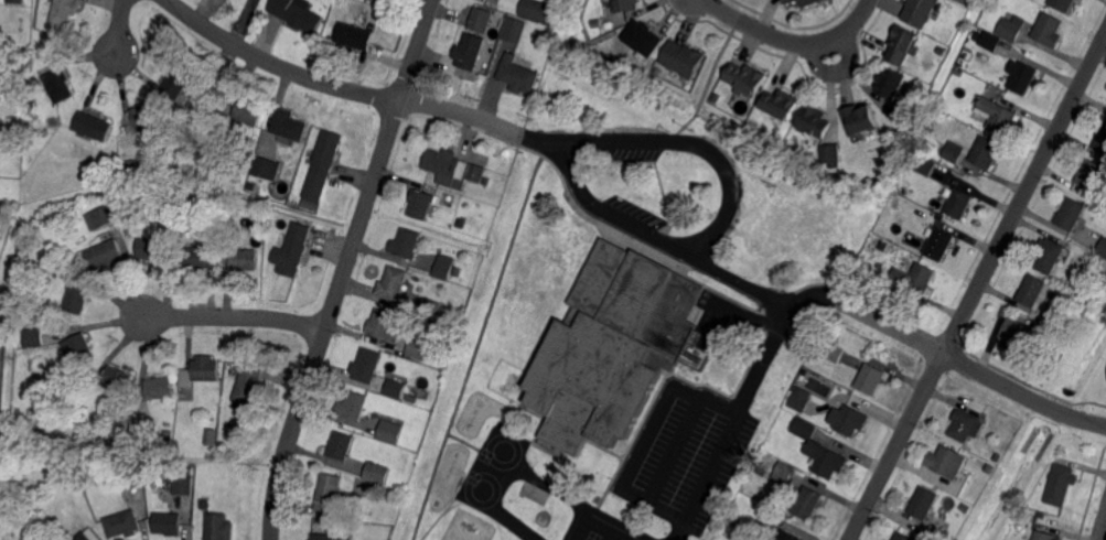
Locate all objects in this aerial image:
building: (384, 1)
building: (786, 1)
building: (14, 2)
building: (805, 2)
building: (964, 2)
building: (1062, 4)
building: (623, 6)
road: (715, 7)
building: (63, 11)
building: (536, 11)
building: (917, 12)
building: (299, 14)
building: (480, 19)
building: (593, 23)
road: (121, 26)
building: (1011, 28)
building: (1048, 31)
building: (514, 32)
building: (550, 32)
building: (354, 36)
building: (976, 36)
building: (643, 37)
building: (989, 42)
building: (899, 44)
road: (799, 45)
building: (939, 51)
building: (469, 52)
building: (679, 58)
road: (839, 71)
building: (516, 76)
building: (742, 78)
building: (1022, 78)
building: (888, 83)
building: (176, 84)
road: (339, 84)
building: (58, 86)
building: (716, 98)
building: (776, 104)
building: (250, 111)
building: (902, 115)
building: (998, 115)
building: (147, 116)
building: (856, 119)
building: (812, 121)
building: (290, 125)
building: (94, 126)
building: (224, 131)
road: (588, 136)
building: (1102, 141)
building: (954, 152)
building: (985, 152)
parking lot: (635, 153)
building: (828, 154)
building: (130, 163)
building: (322, 164)
building: (923, 164)
building: (884, 166)
building: (267, 168)
building: (451, 168)
building: (94, 175)
building: (1089, 176)
building: (484, 179)
road: (1024, 192)
building: (958, 203)
building: (420, 204)
parking lot: (634, 210)
building: (1071, 213)
building: (105, 217)
building: (464, 223)
building: (224, 226)
building: (407, 244)
building: (937, 245)
building: (76, 247)
building: (152, 248)
building: (1103, 248)
building: (294, 250)
building: (105, 253)
building: (1049, 255)
road: (659, 256)
building: (200, 258)
building: (245, 259)
building: (445, 266)
road: (344, 269)
building: (64, 270)
building: (914, 278)
building: (394, 283)
building: (1035, 291)
building: (890, 294)
building: (77, 298)
building: (431, 310)
building: (1003, 312)
road: (236, 317)
building: (1048, 317)
building: (387, 324)
building: (1014, 332)
building: (616, 336)
building: (35, 337)
road: (475, 346)
building: (419, 347)
building: (79, 348)
building: (835, 353)
road: (946, 353)
road: (760, 364)
building: (367, 365)
building: (207, 370)
building: (871, 378)
building: (119, 379)
building: (249, 386)
building: (161, 387)
building: (395, 388)
building: (410, 398)
building: (796, 401)
building: (352, 407)
building: (571, 420)
building: (849, 420)
building: (966, 425)
building: (390, 430)
building: (139, 433)
road: (644, 433)
building: (213, 436)
road: (462, 440)
road: (506, 442)
building: (341, 445)
road: (896, 445)
road: (675, 447)
building: (817, 450)
parking lot: (692, 457)
building: (997, 457)
building: (946, 462)
building: (989, 468)
building: (379, 473)
building: (782, 474)
building: (132, 476)
building: (183, 485)
building: (1060, 485)
building: (331, 494)
road: (571, 500)
building: (806, 500)
building: (924, 503)
building: (205, 504)
road: (488, 506)
road: (436, 518)
building: (731, 519)
building: (124, 523)
building: (168, 523)
building: (217, 527)
road: (1103, 529)
building: (934, 531)
building: (89, 534)
building: (788, 536)
building: (1044, 536)
building: (331, 537)
building: (903, 537)
building: (35, 539)

